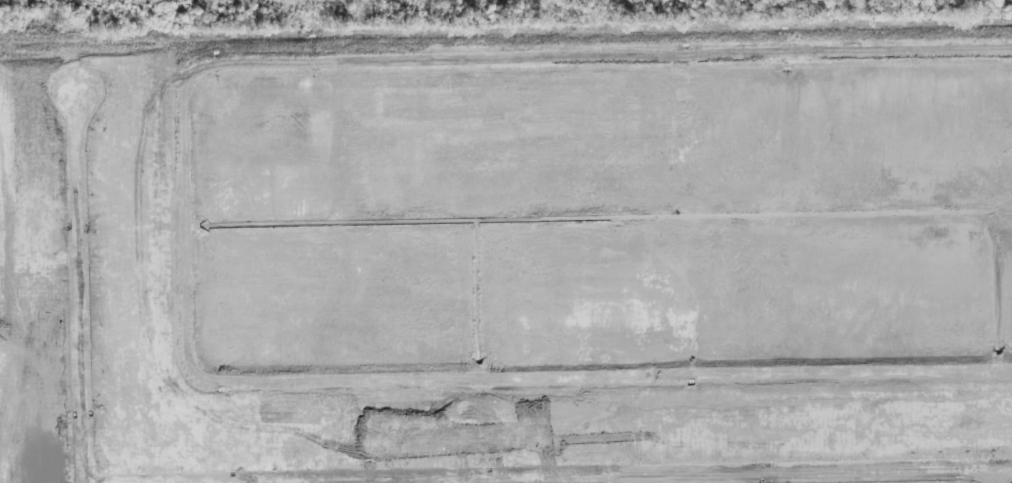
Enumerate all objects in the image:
road: (82, 288)
road: (549, 474)
road: (993, 475)
road: (464, 479)

